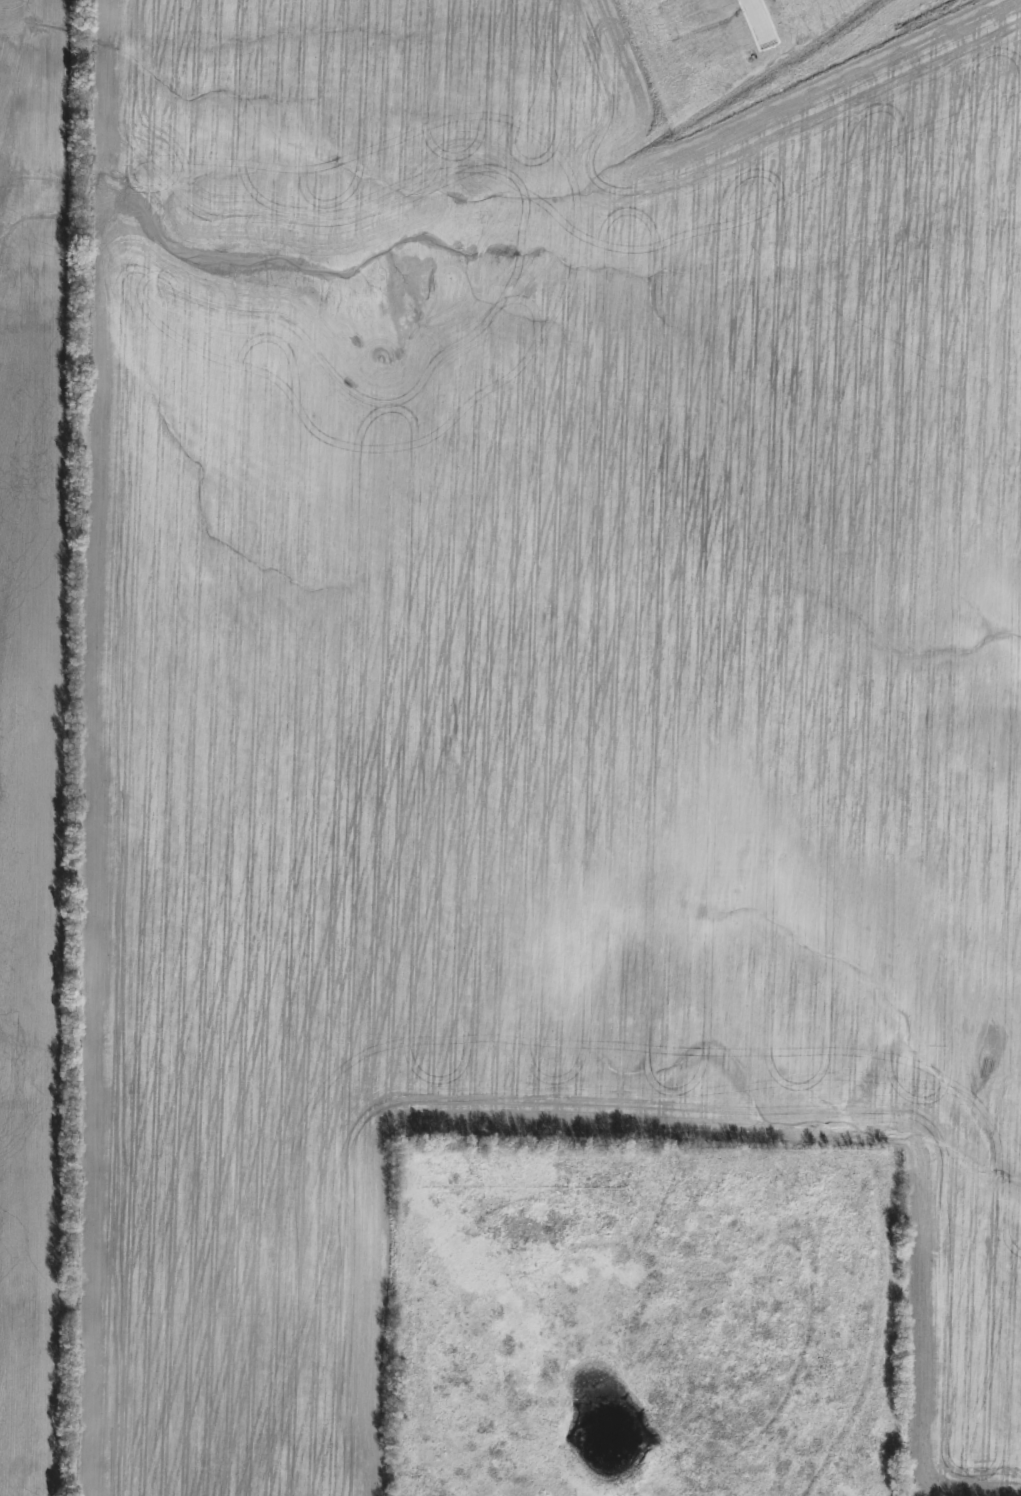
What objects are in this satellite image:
road: (759, 19)

